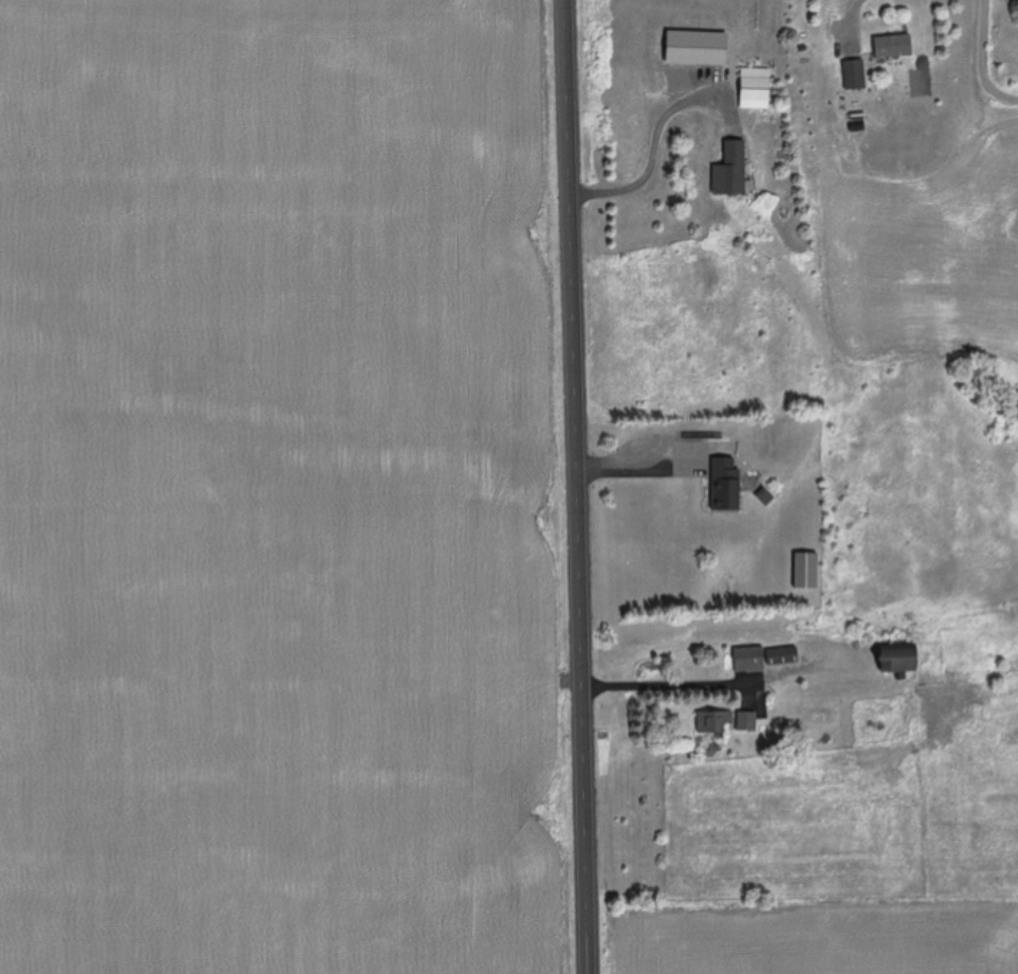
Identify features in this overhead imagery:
building: (892, 48)
building: (854, 76)
building: (754, 89)
road: (854, 96)
road: (918, 124)
building: (731, 170)
building: (725, 484)
road: (576, 486)
building: (805, 572)
building: (782, 657)
building: (895, 659)
building: (748, 661)
building: (713, 723)

